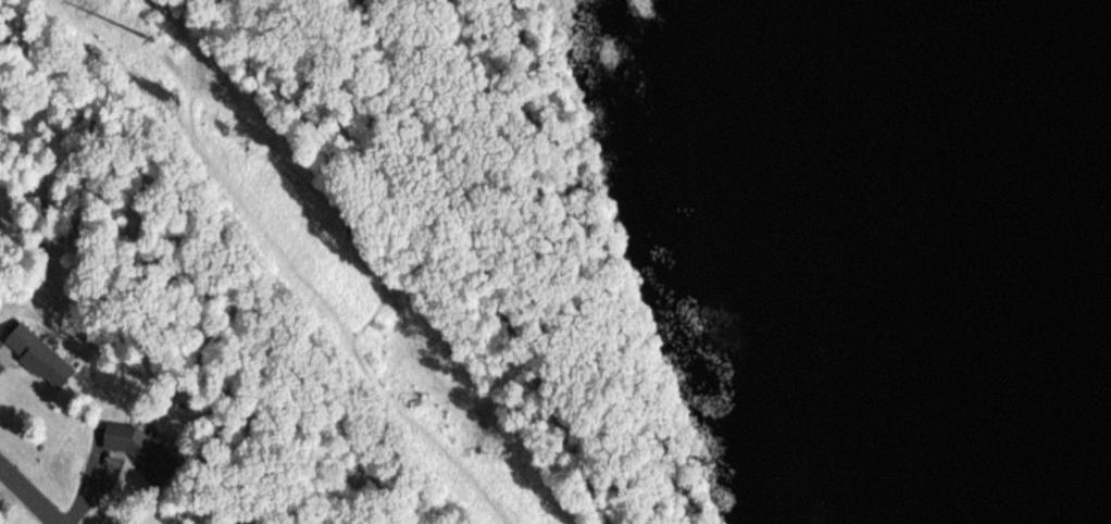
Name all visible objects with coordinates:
power tower: (154, 39)
road: (484, 259)
building: (37, 354)
building: (127, 442)
road: (26, 498)

